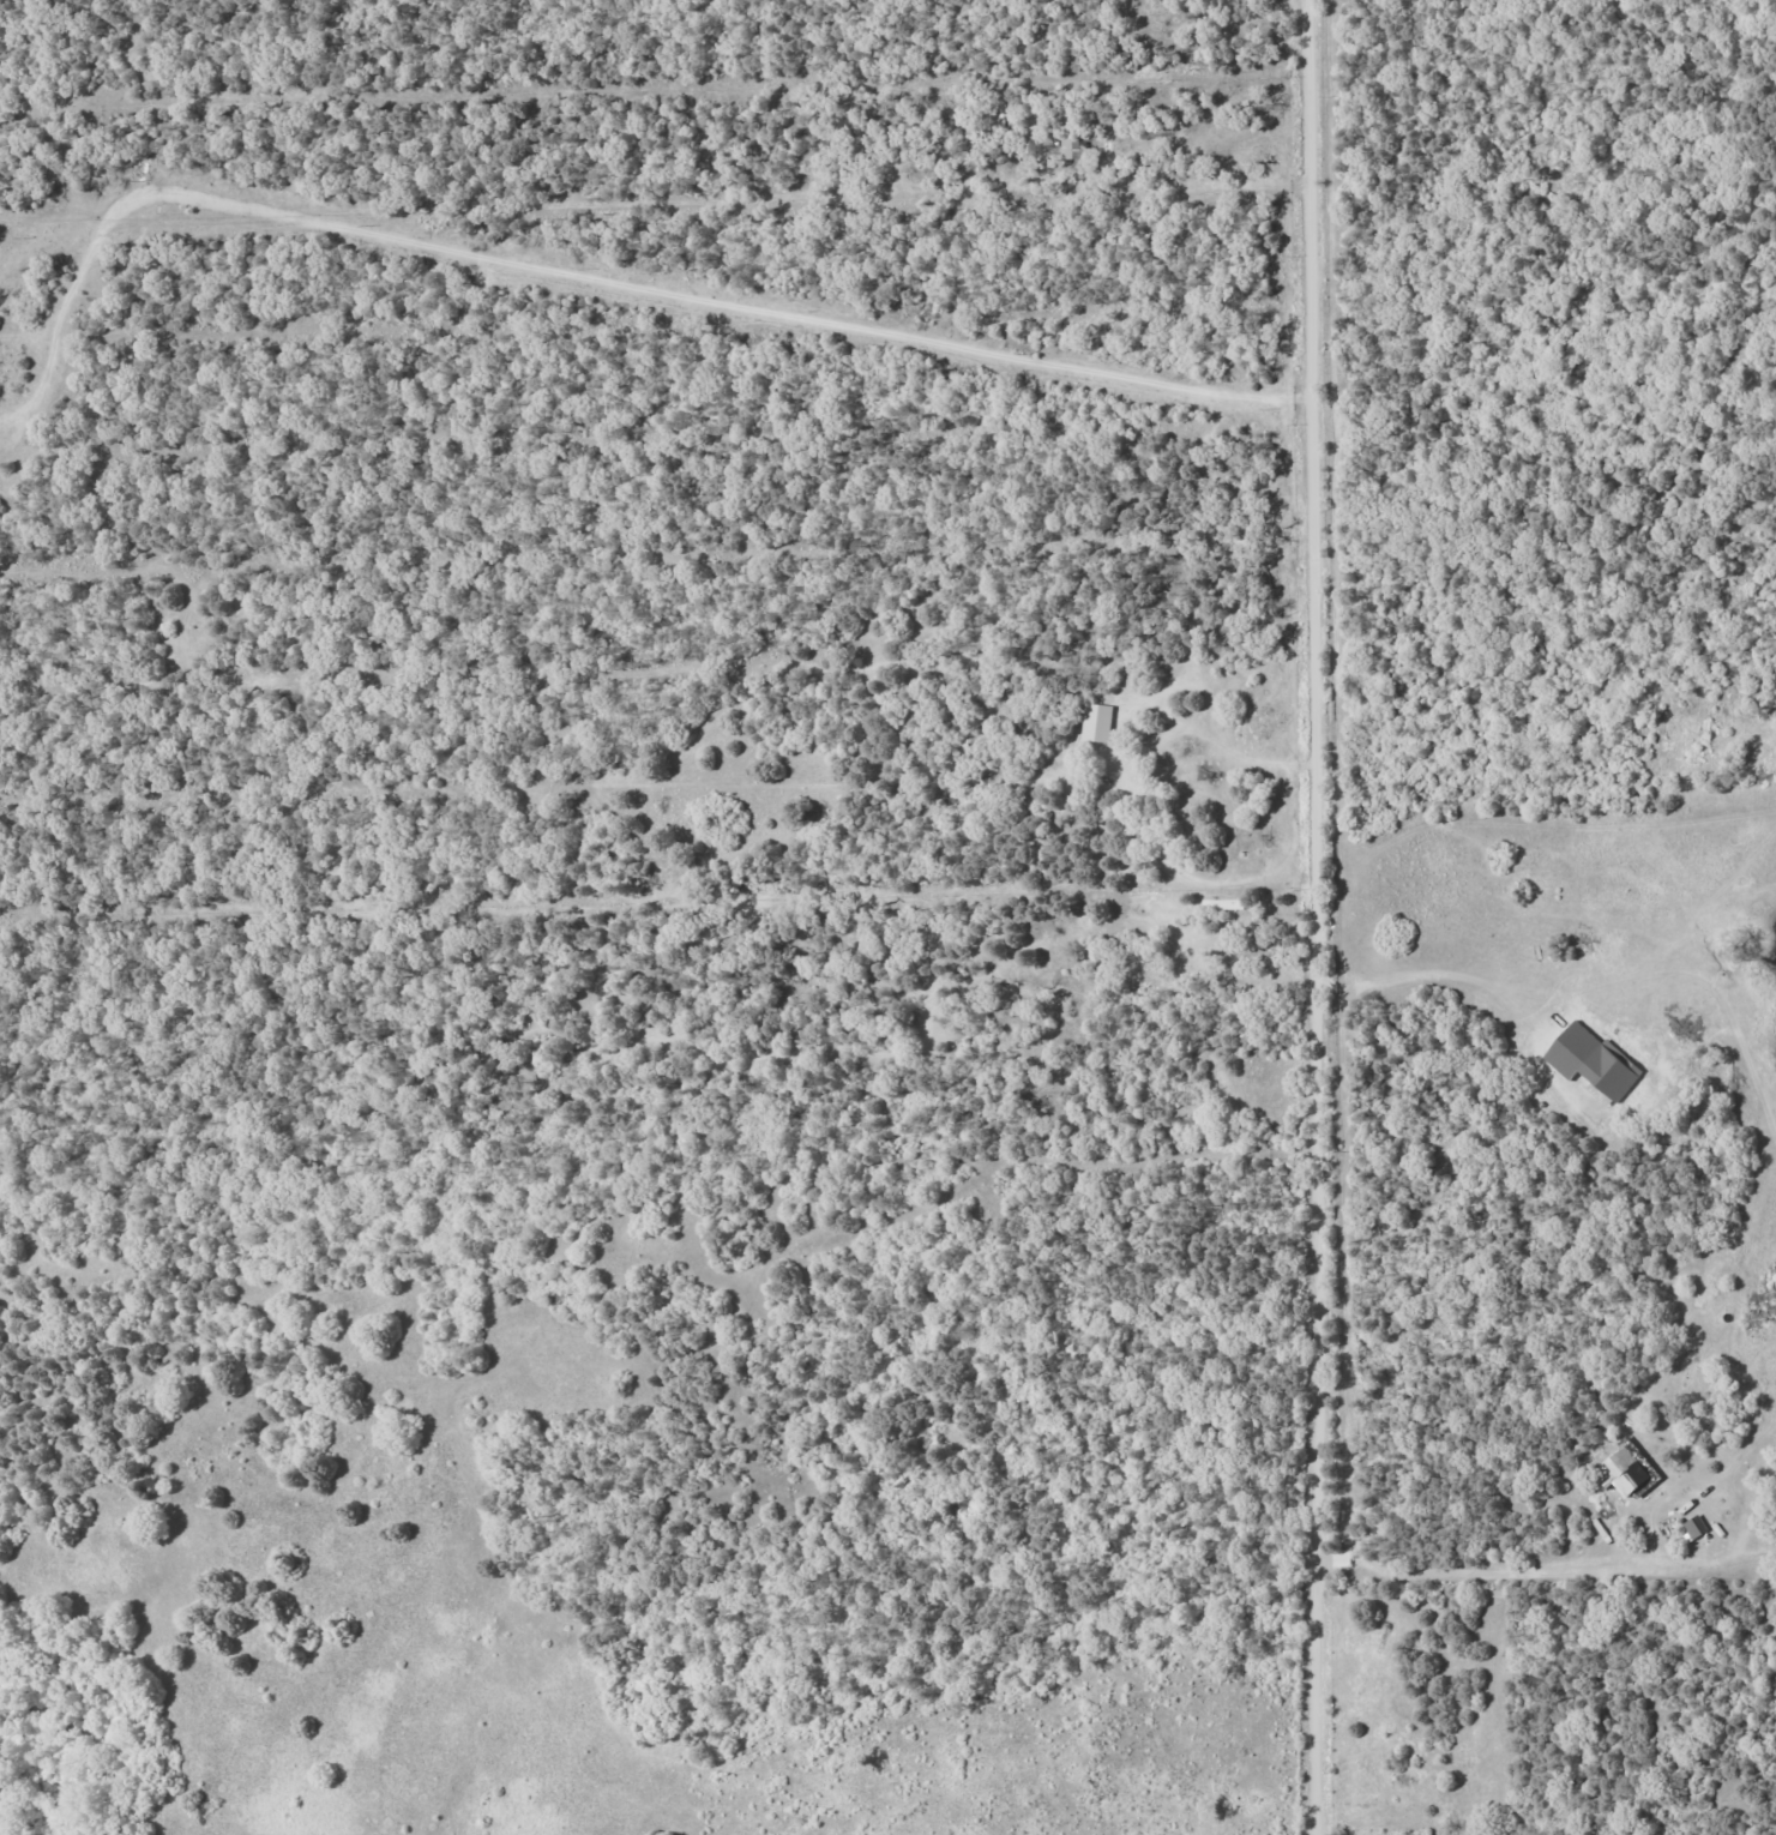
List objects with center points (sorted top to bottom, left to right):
building: (1096, 722)
road: (1318, 916)
park: (1264, 1112)
building: (1691, 1527)

